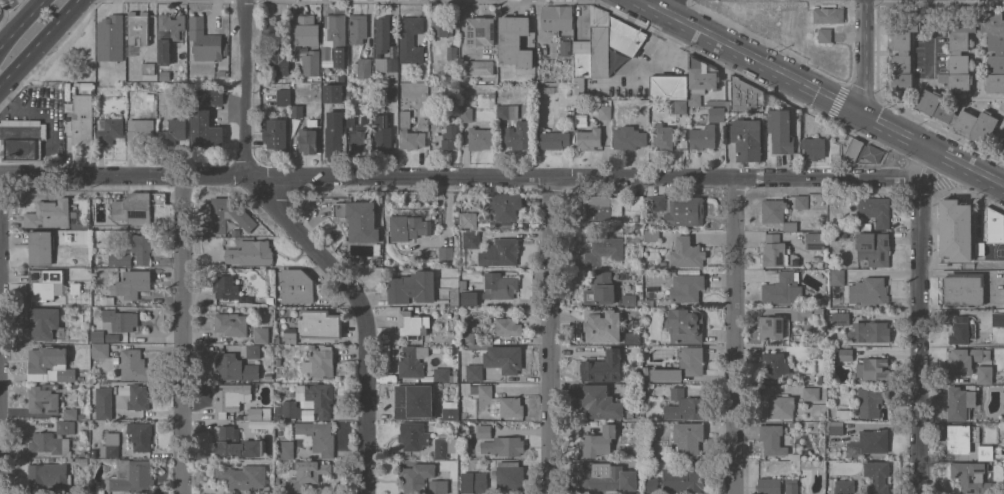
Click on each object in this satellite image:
building: (828, 15)
building: (557, 17)
road: (23, 25)
building: (170, 27)
building: (441, 27)
building: (138, 28)
building: (358, 28)
building: (307, 30)
building: (269, 31)
building: (481, 31)
building: (825, 35)
building: (337, 36)
road: (930, 36)
building: (627, 37)
building: (110, 38)
building: (411, 39)
building: (204, 40)
building: (514, 41)
road: (39, 42)
building: (595, 46)
building: (384, 47)
building: (565, 48)
building: (903, 50)
building: (452, 52)
building: (956, 52)
building: (326, 53)
road: (866, 58)
building: (277, 59)
building: (311, 63)
building: (478, 67)
building: (149, 68)
building: (364, 69)
building: (164, 70)
building: (298, 71)
building: (221, 73)
building: (701, 78)
building: (466, 79)
building: (669, 86)
building: (578, 90)
building: (391, 91)
building: (333, 92)
road: (820, 92)
building: (492, 95)
building: (745, 95)
building: (150, 96)
building: (210, 96)
building: (284, 97)
building: (715, 102)
building: (678, 107)
building: (297, 110)
building: (507, 111)
building: (604, 112)
building: (467, 114)
building: (717, 114)
building: (958, 114)
building: (83, 117)
building: (405, 119)
building: (312, 122)
building: (205, 129)
building: (109, 130)
building: (780, 130)
building: (174, 131)
building: (141, 132)
building: (334, 133)
building: (359, 134)
building: (276, 135)
building: (382, 135)
building: (518, 135)
building: (452, 136)
building: (663, 136)
building: (629, 137)
building: (702, 137)
building: (21, 138)
building: (480, 138)
building: (589, 138)
building: (553, 139)
building: (747, 139)
building: (307, 140)
building: (813, 147)
building: (1003, 148)
building: (862, 151)
road: (475, 176)
building: (637, 202)
building: (659, 202)
building: (802, 202)
building: (475, 203)
building: (505, 205)
building: (136, 206)
building: (602, 206)
building: (875, 210)
building: (685, 211)
building: (776, 213)
building: (51, 214)
building: (229, 214)
building: (359, 219)
building: (468, 219)
building: (80, 225)
building: (994, 225)
building: (408, 227)
building: (955, 229)
building: (639, 230)
building: (236, 232)
building: (74, 236)
building: (652, 236)
building: (471, 239)
building: (815, 240)
road: (310, 244)
building: (872, 245)
building: (41, 247)
building: (980, 248)
building: (141, 249)
building: (602, 250)
building: (774, 250)
building: (250, 253)
building: (445, 253)
building: (500, 253)
building: (686, 253)
building: (120, 259)
building: (377, 260)
building: (662, 264)
building: (837, 277)
building: (132, 283)
building: (44, 284)
building: (499, 285)
building: (297, 286)
building: (226, 287)
building: (412, 287)
building: (686, 287)
building: (600, 288)
building: (783, 288)
building: (963, 288)
building: (868, 291)
building: (830, 292)
building: (467, 294)
building: (631, 299)
building: (109, 300)
building: (818, 311)
building: (800, 312)
building: (840, 318)
building: (998, 318)
building: (119, 320)
building: (44, 323)
building: (231, 323)
building: (319, 324)
building: (412, 324)
building: (602, 324)
building: (508, 325)
building: (685, 325)
building: (775, 328)
building: (960, 330)
building: (869, 331)
building: (84, 333)
road: (186, 334)
building: (261, 335)
building: (290, 335)
road: (550, 335)
road: (921, 335)
road: (737, 336)
building: (98, 337)
building: (632, 337)
building: (467, 338)
building: (311, 347)
building: (100, 351)
building: (252, 351)
building: (846, 354)
building: (434, 358)
building: (504, 358)
building: (965, 359)
building: (412, 360)
building: (94, 361)
building: (51, 362)
building: (277, 362)
building: (321, 362)
building: (682, 364)
building: (133, 365)
building: (774, 365)
building: (235, 367)
building: (604, 367)
building: (873, 369)
building: (474, 372)
building: (984, 374)
building: (268, 375)
building: (443, 375)
building: (75, 386)
building: (485, 391)
building: (810, 393)
building: (1002, 395)
building: (135, 396)
building: (317, 397)
building: (230, 398)
building: (48, 400)
building: (871, 400)
building: (960, 401)
building: (103, 402)
building: (414, 402)
building: (602, 403)
building: (511, 406)
building: (684, 406)
building: (781, 406)
building: (288, 409)
building: (450, 410)
building: (832, 411)
building: (843, 413)
building: (259, 414)
building: (81, 416)
building: (798, 416)
building: (260, 424)
building: (792, 424)
building: (462, 425)
building: (836, 428)
building: (483, 431)
building: (140, 435)
building: (413, 435)
building: (316, 436)
building: (961, 437)
building: (688, 438)
building: (772, 439)
building: (54, 440)
building: (599, 440)
building: (236, 443)
building: (868, 443)
building: (110, 445)
building: (503, 445)
building: (444, 446)
building: (285, 449)
building: (94, 452)
building: (985, 452)
building: (795, 456)
building: (481, 465)
building: (307, 472)
building: (48, 475)
building: (132, 475)
building: (417, 475)
building: (510, 475)
building: (243, 477)
building: (608, 477)
building: (877, 477)
building: (974, 477)
building: (683, 479)
building: (474, 482)
building: (650, 484)
building: (769, 485)
building: (438, 486)
building: (791, 486)
building: (844, 487)
building: (100, 488)
building: (39, 490)

